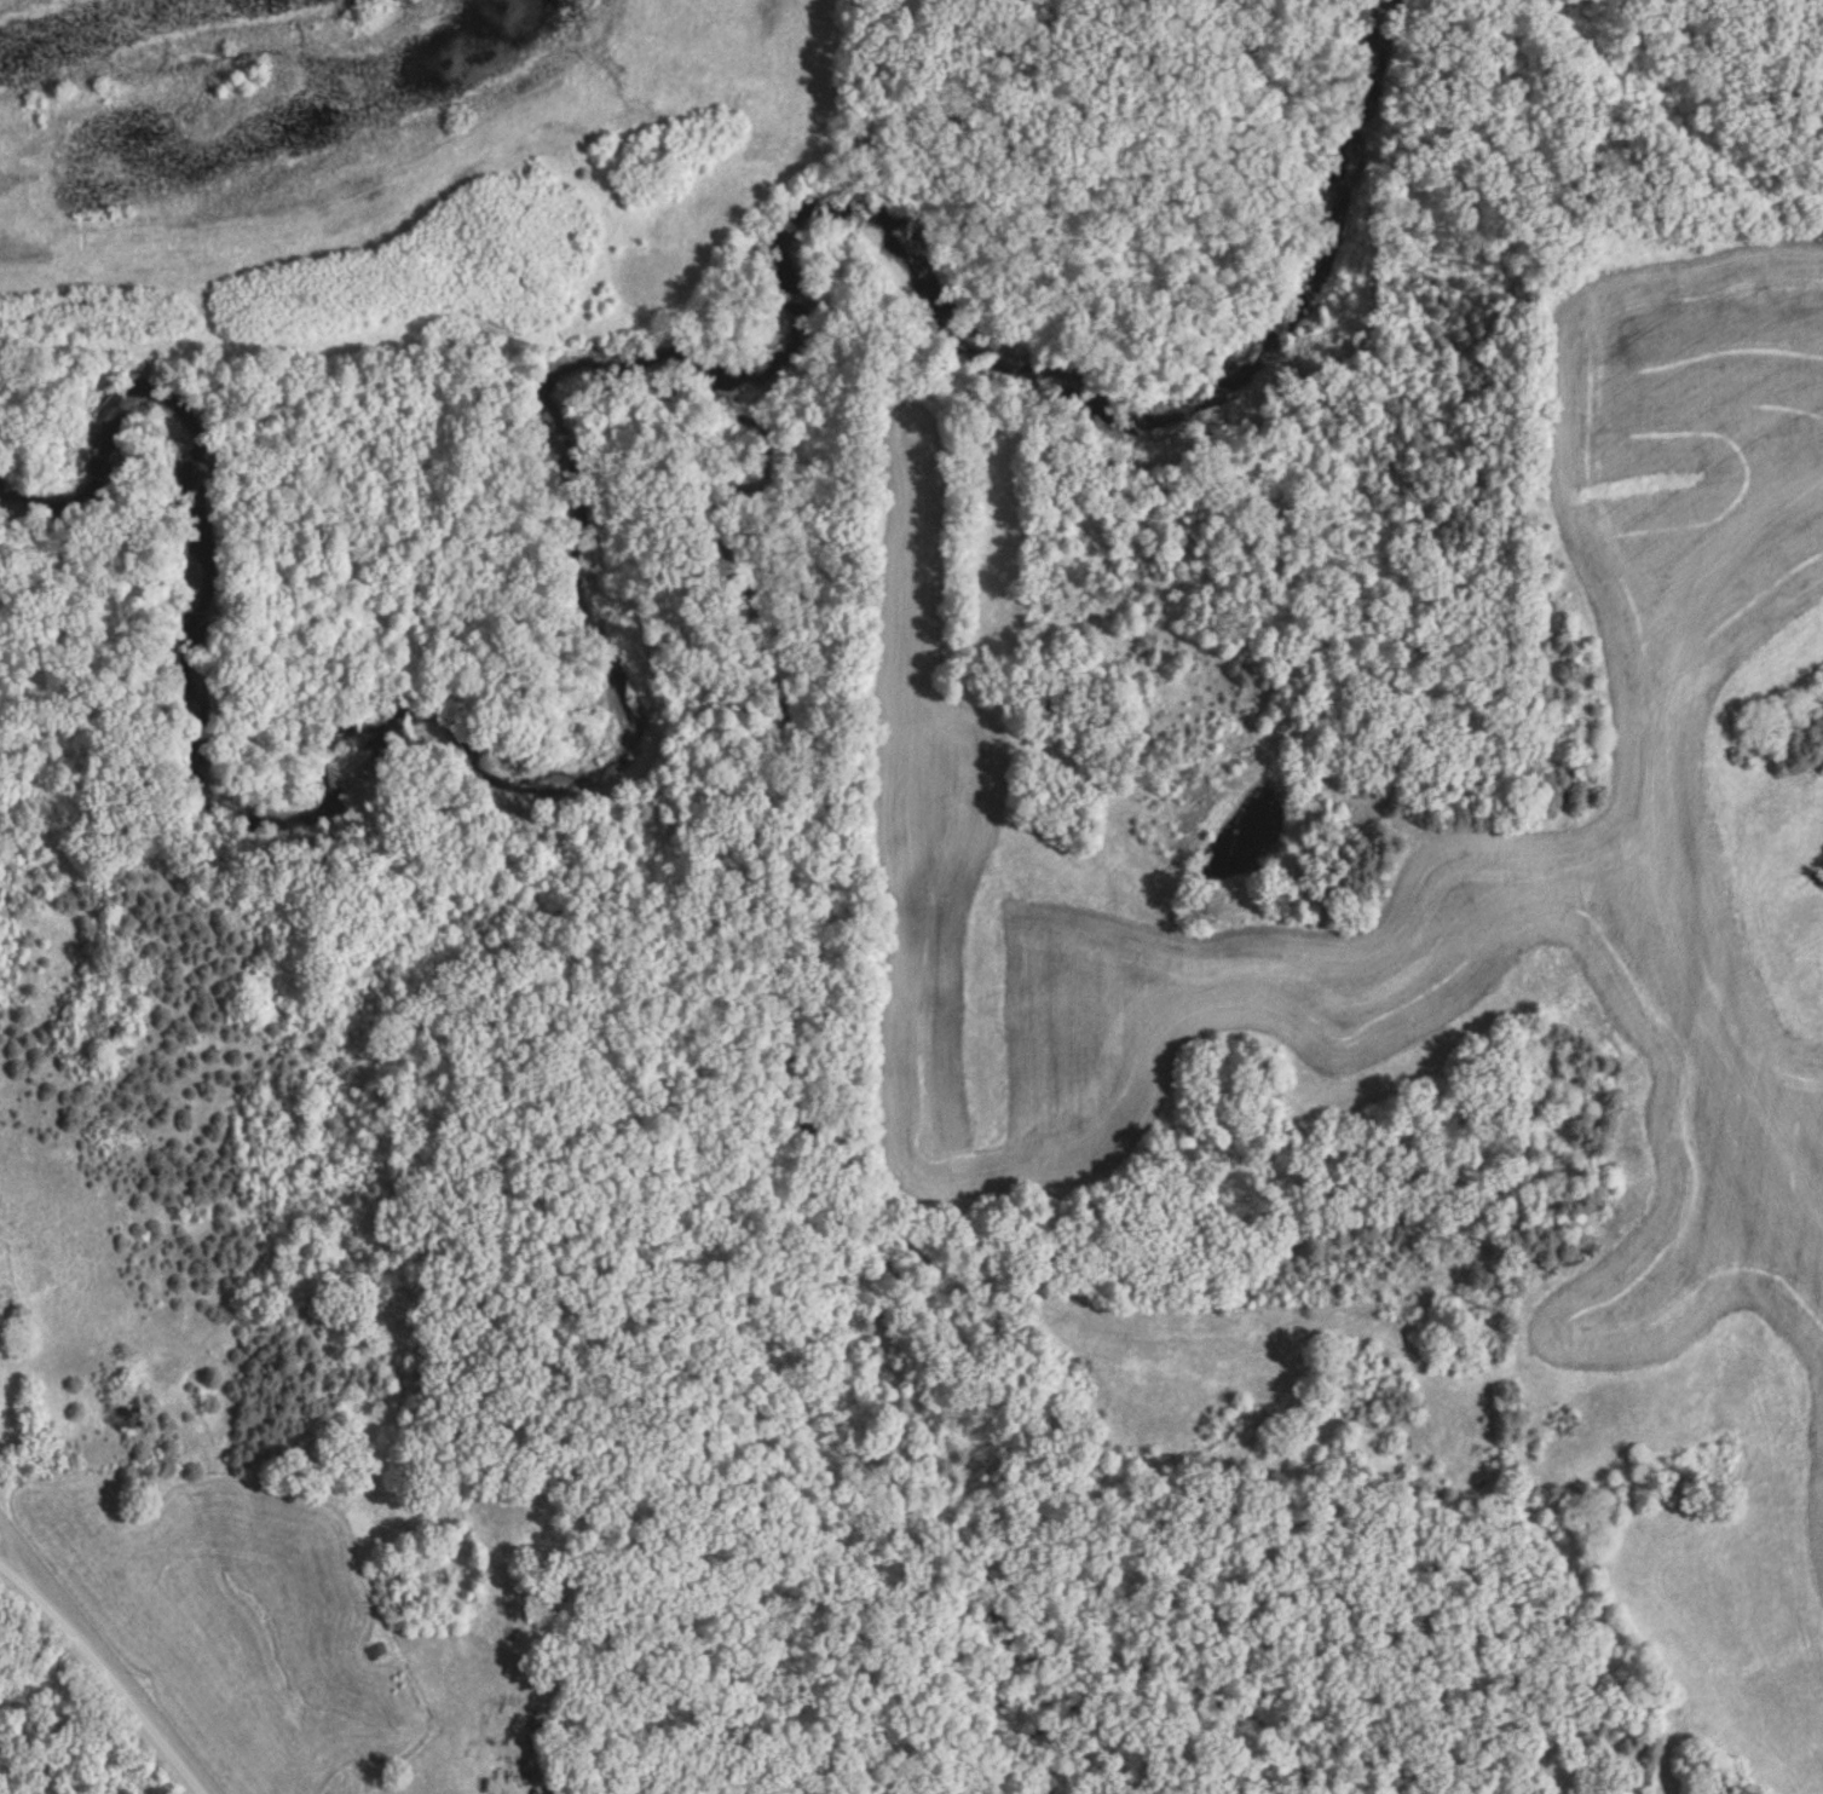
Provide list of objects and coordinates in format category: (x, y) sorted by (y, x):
road: (11, 1541)
building: (376, 1651)
road: (109, 1671)

